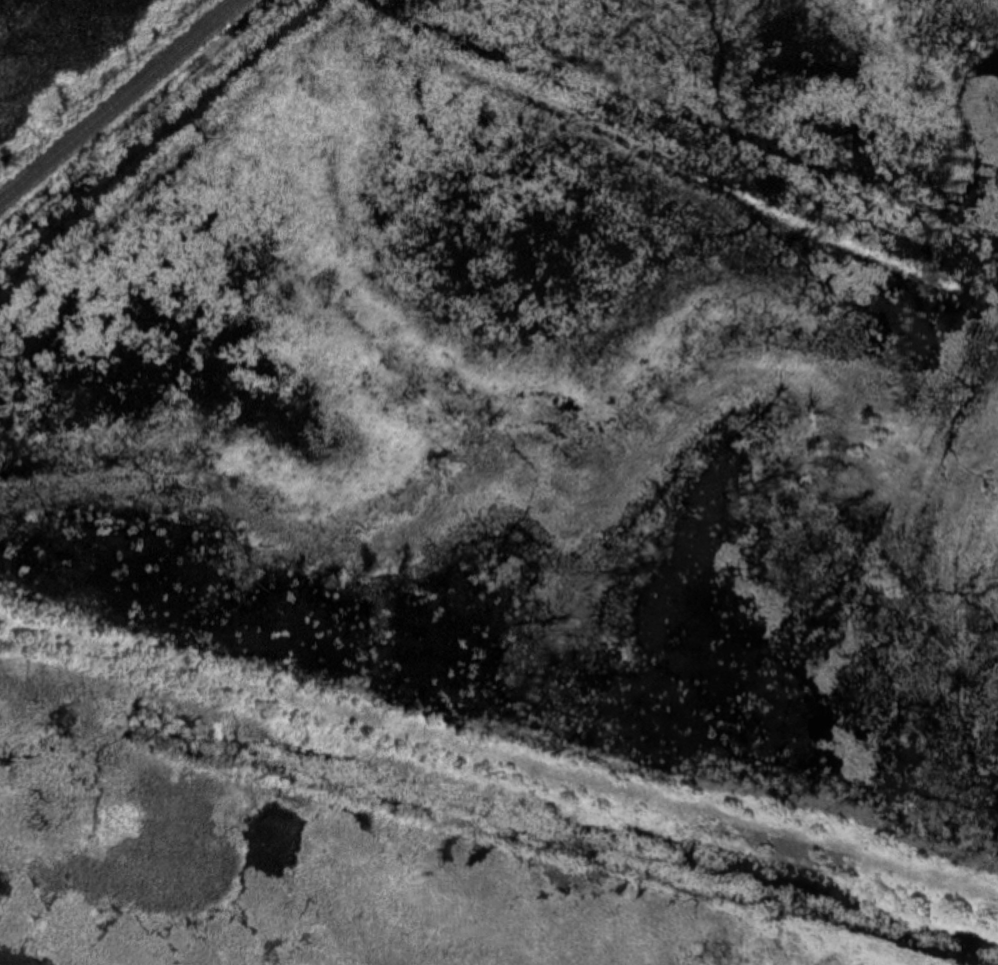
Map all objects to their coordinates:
railway: (117, 99)
power tower: (202, 128)

